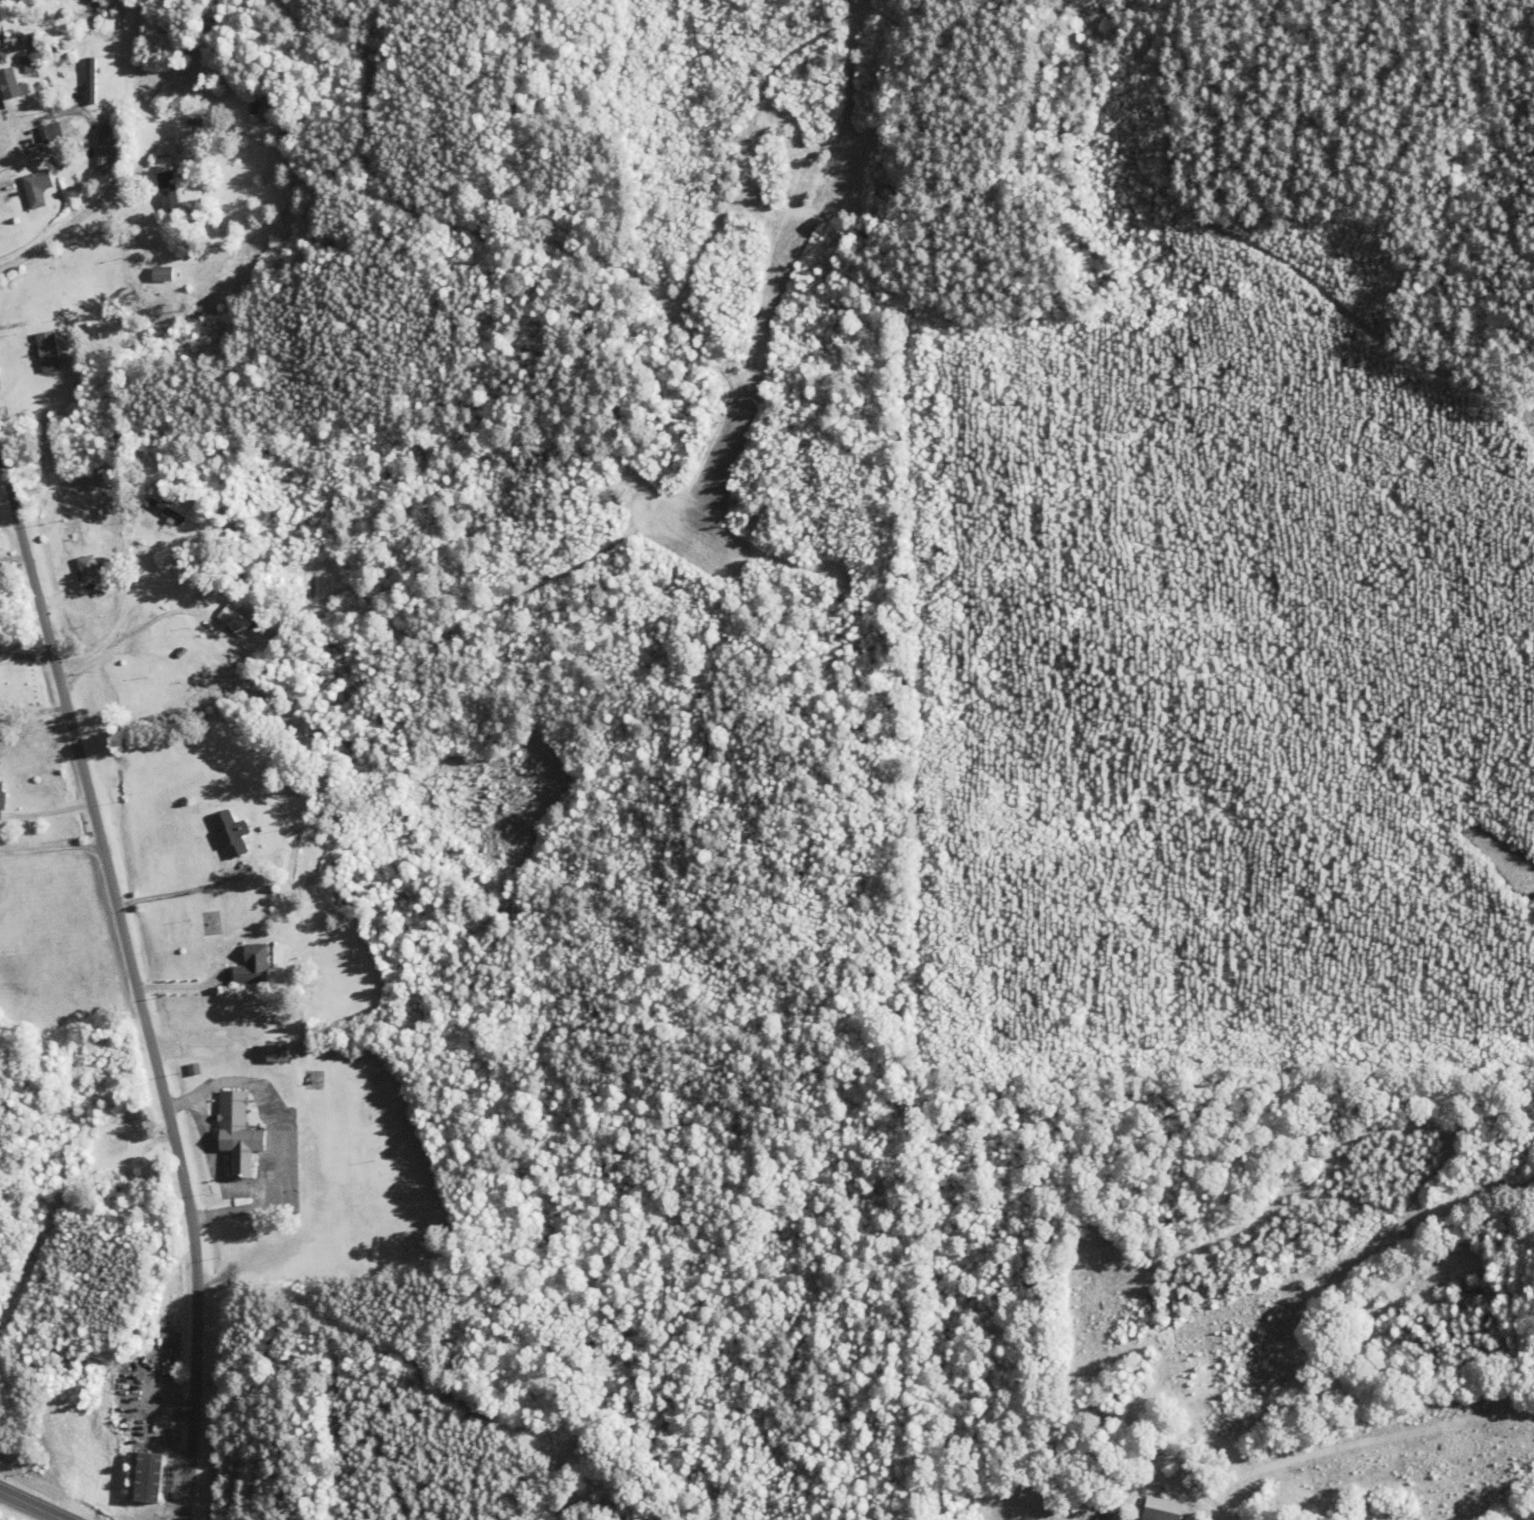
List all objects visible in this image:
road: (89, 210)
road: (90, 658)
road: (134, 984)
road: (27, 1507)

